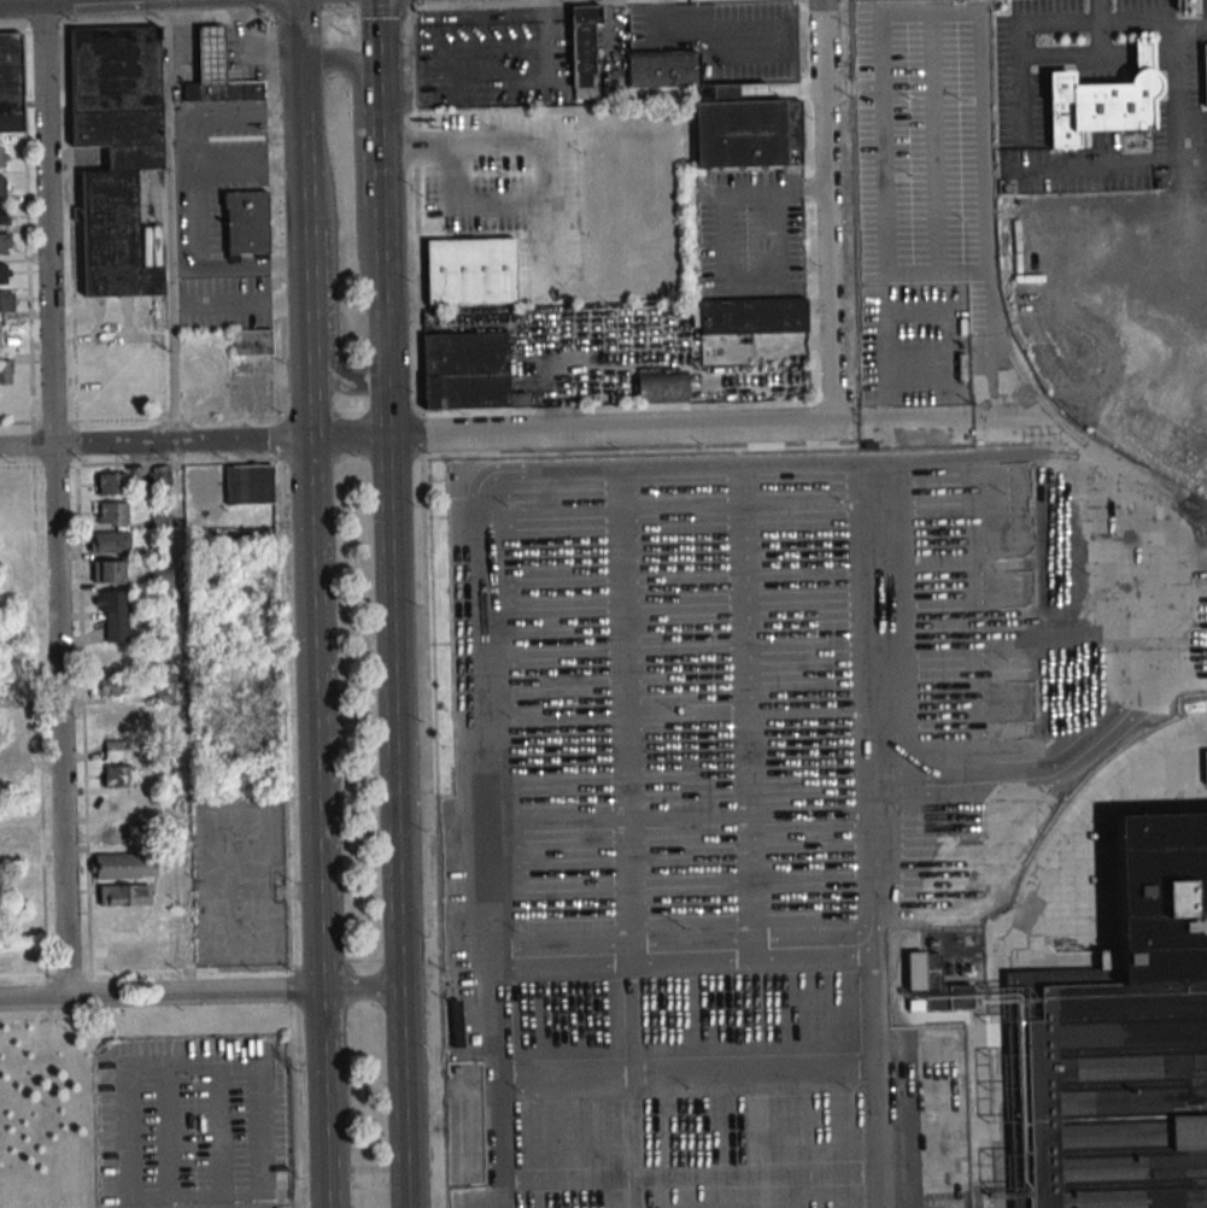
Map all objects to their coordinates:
road: (546, 2)
road: (410, 4)
road: (383, 7)
road: (268, 8)
road: (338, 12)
road: (293, 17)
road: (134, 23)
road: (545, 37)
building: (581, 45)
building: (209, 55)
building: (663, 69)
building: (10, 83)
building: (228, 92)
building: (1097, 107)
road: (239, 110)
road: (299, 111)
building: (737, 135)
road: (380, 143)
building: (115, 151)
road: (357, 152)
building: (2, 158)
road: (240, 163)
building: (2, 186)
road: (181, 187)
road: (773, 190)
road: (828, 212)
building: (5, 215)
road: (47, 222)
building: (244, 222)
building: (5, 244)
road: (242, 263)
building: (468, 271)
building: (5, 274)
road: (329, 281)
road: (305, 283)
road: (748, 283)
building: (7, 301)
road: (246, 304)
building: (746, 316)
building: (250, 344)
building: (5, 371)
building: (463, 371)
building: (661, 387)
road: (854, 426)
road: (572, 432)
road: (181, 441)
road: (27, 446)
building: (160, 474)
building: (111, 483)
building: (250, 485)
building: (6, 486)
road: (176, 497)
building: (111, 512)
building: (111, 541)
building: (107, 571)
building: (159, 576)
building: (113, 614)
building: (113, 659)
building: (107, 685)
building: (164, 715)
road: (59, 721)
road: (396, 747)
building: (8, 749)
building: (112, 749)
building: (1206, 766)
road: (318, 775)
building: (117, 776)
parking lot: (721, 809)
building: (110, 834)
building: (12, 837)
building: (123, 866)
building: (122, 895)
building: (122, 922)
road: (362, 993)
road: (162, 996)
building: (457, 1016)
building: (1121, 1043)
road: (124, 1065)
road: (270, 1099)
park: (48, 1113)
parking lot: (194, 1120)
road: (301, 1204)

